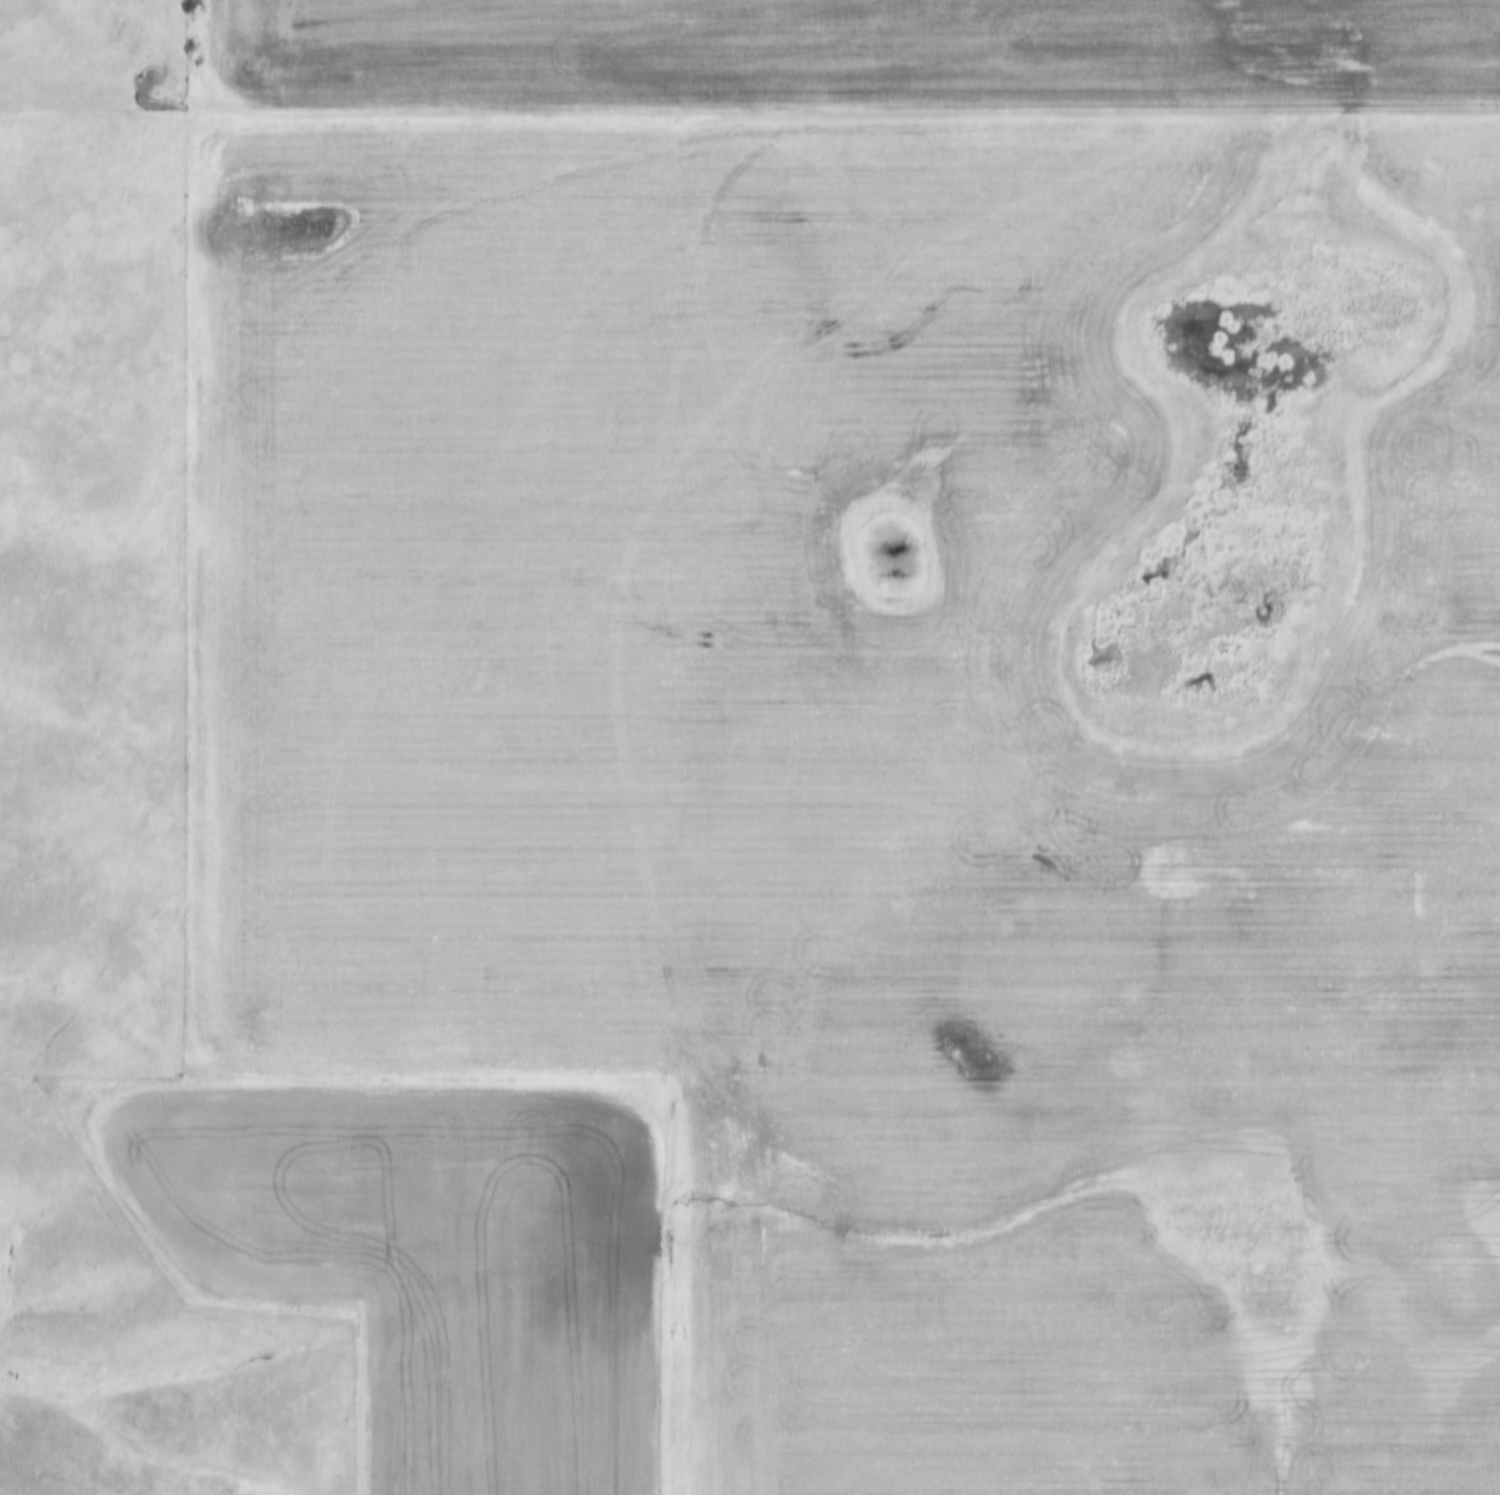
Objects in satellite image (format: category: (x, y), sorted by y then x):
road: (749, 103)
road: (21, 120)

